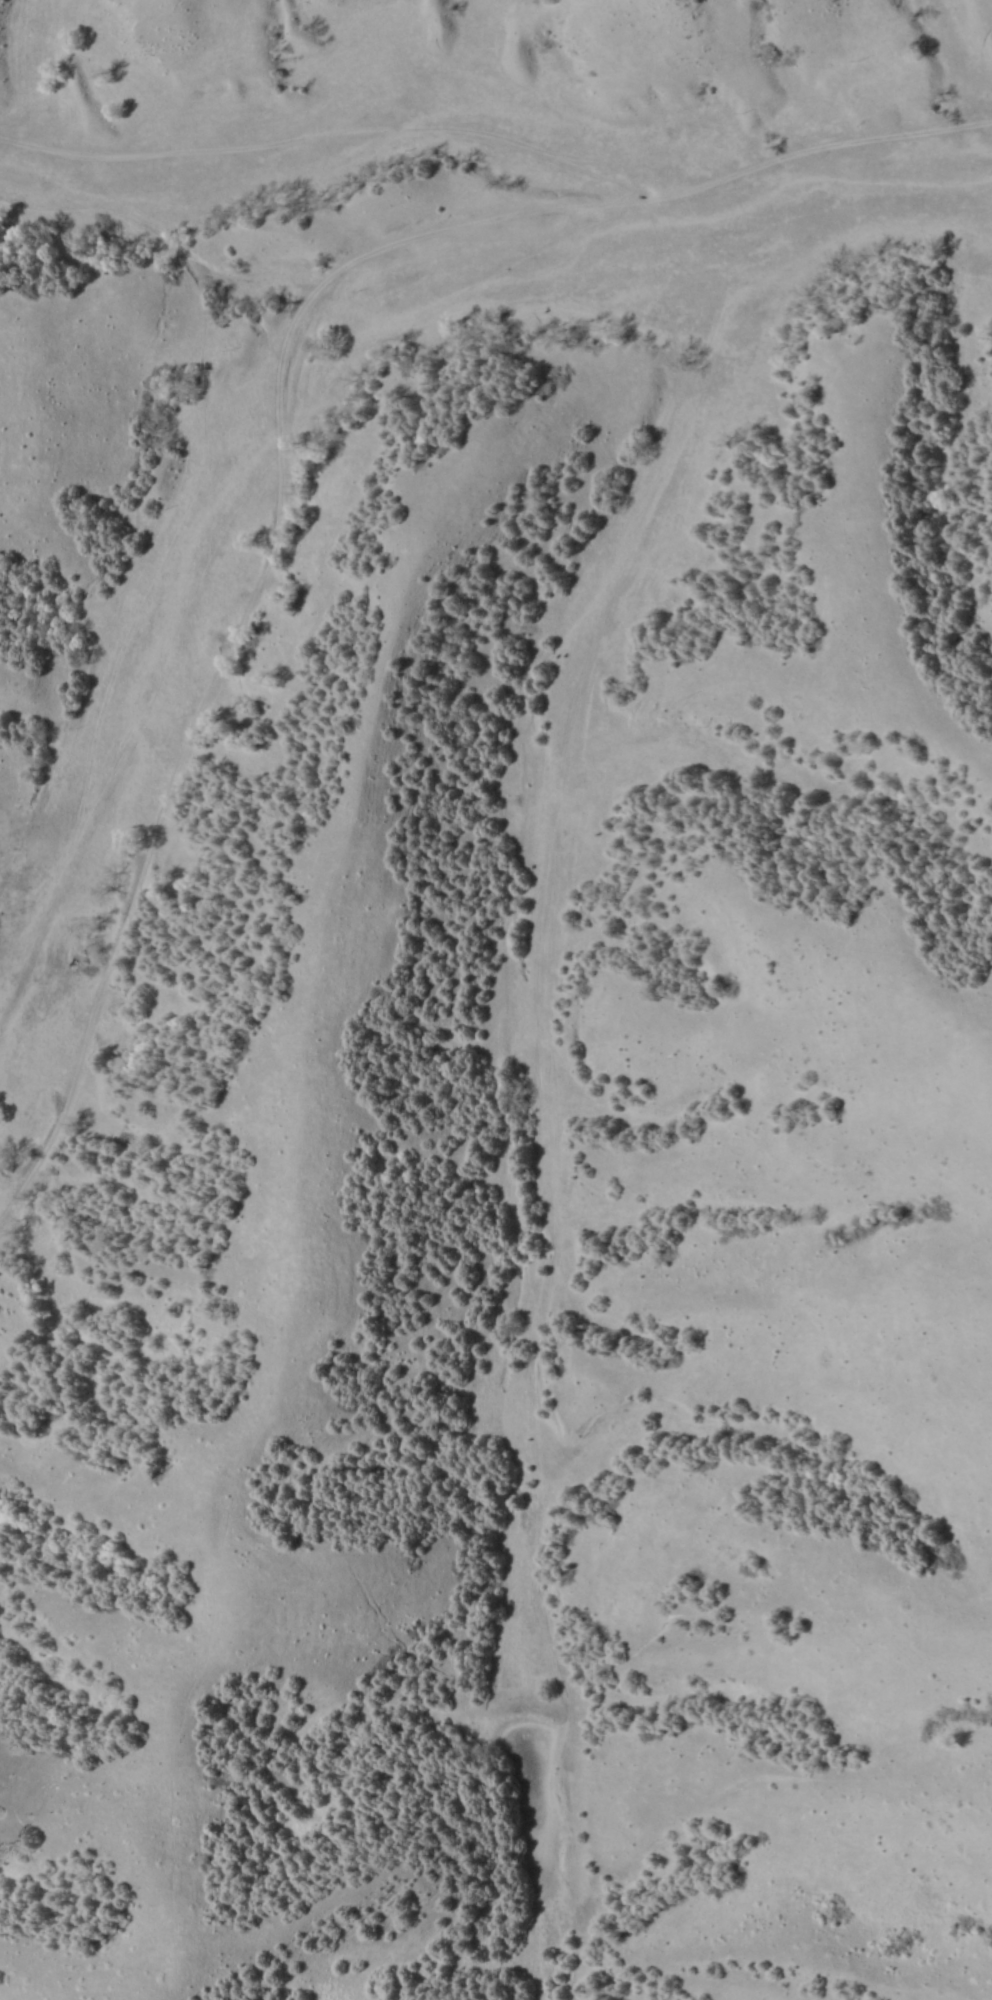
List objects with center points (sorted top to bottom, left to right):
road: (283, 428)

